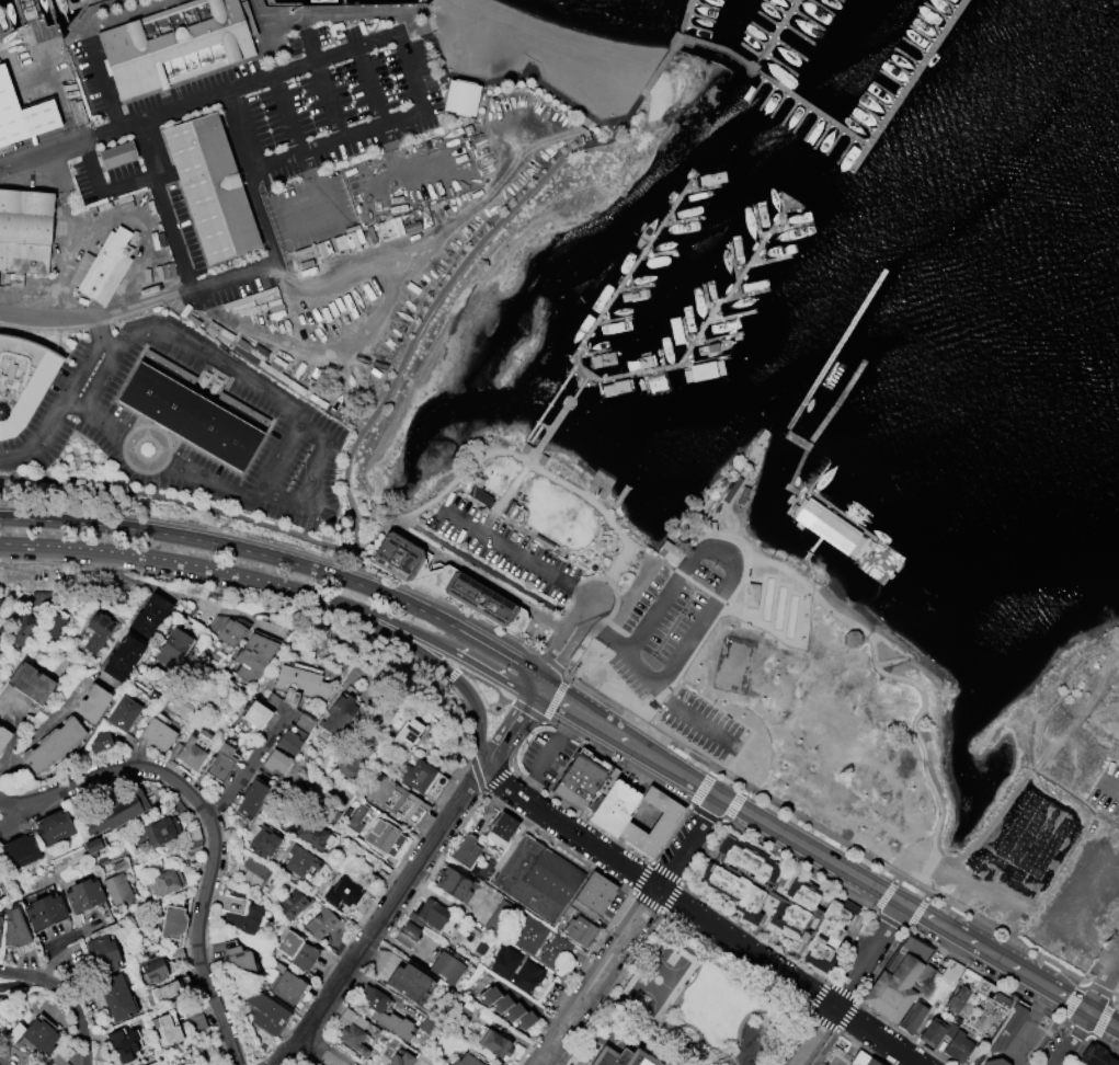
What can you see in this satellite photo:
pier: (342, 1)
pier: (420, 1)
road: (343, 5)
road: (419, 5)
road: (87, 11)
road: (122, 13)
pier: (686, 18)
pier: (773, 34)
building: (173, 44)
road: (439, 57)
road: (430, 81)
road: (100, 82)
road: (412, 83)
road: (368, 84)
pier: (906, 85)
road: (56, 93)
building: (460, 96)
road: (327, 98)
pier: (802, 105)
building: (22, 114)
road: (152, 115)
parking lot: (261, 146)
road: (42, 151)
building: (116, 156)
road: (271, 159)
road: (248, 176)
building: (210, 186)
road: (99, 190)
road: (163, 205)
road: (288, 222)
building: (25, 229)
road: (461, 261)
building: (103, 265)
road: (333, 276)
pier: (626, 277)
road: (139, 305)
road: (107, 343)
building: (258, 356)
pier: (830, 358)
pier: (678, 363)
building: (21, 380)
road: (64, 399)
building: (189, 415)
parking lot: (167, 419)
road: (296, 424)
pier: (820, 428)
road: (546, 474)
pier: (780, 476)
pier: (629, 483)
road: (312, 484)
building: (480, 494)
pier: (785, 494)
road: (502, 497)
road: (178, 502)
road: (439, 505)
pier: (777, 507)
road: (370, 512)
park: (561, 525)
building: (831, 528)
road: (159, 531)
road: (373, 532)
pier: (840, 534)
road: (278, 543)
road: (64, 545)
parking lot: (504, 548)
parking lot: (16, 550)
building: (669, 552)
pier: (810, 552)
road: (517, 556)
road: (654, 559)
parking lot: (180, 569)
road: (224, 570)
road: (487, 571)
building: (444, 581)
road: (231, 587)
road: (628, 593)
parking lot: (642, 593)
building: (751, 593)
building: (87, 596)
road: (183, 596)
park: (767, 597)
building: (0, 599)
building: (42, 599)
road: (398, 599)
park: (779, 607)
road: (709, 608)
parking lot: (332, 615)
road: (380, 615)
road: (651, 615)
building: (150, 616)
park: (791, 616)
road: (760, 623)
building: (53, 627)
building: (20, 628)
building: (228, 628)
building: (98, 629)
road: (572, 630)
road: (604, 637)
building: (173, 650)
building: (254, 655)
road: (427, 655)
building: (123, 656)
road: (509, 657)
road: (356, 661)
road: (550, 662)
parking lot: (641, 663)
park: (733, 663)
road: (486, 669)
road: (543, 672)
road: (563, 674)
road: (450, 675)
road: (900, 677)
building: (302, 680)
building: (31, 682)
road: (486, 682)
road: (546, 689)
road: (528, 694)
road: (1063, 694)
road: (553, 698)
park: (798, 698)
railway: (648, 701)
building: (93, 702)
road: (527, 709)
building: (124, 712)
road: (685, 712)
building: (256, 713)
building: (338, 715)
road: (642, 715)
road: (469, 718)
road: (603, 724)
road: (504, 732)
building: (158, 733)
building: (296, 733)
building: (408, 735)
building: (3, 736)
road: (517, 740)
building: (101, 741)
building: (54, 745)
building: (192, 747)
road: (548, 752)
building: (358, 755)
parking lot: (546, 755)
building: (276, 760)
building: (220, 761)
building: (448, 763)
road: (481, 766)
road: (490, 766)
road: (247, 769)
building: (424, 778)
building: (584, 778)
road: (1110, 786)
road: (482, 789)
road: (1074, 795)
parking lot: (1108, 795)
building: (252, 798)
building: (397, 800)
building: (614, 805)
road: (13, 808)
building: (178, 808)
building: (116, 812)
building: (347, 813)
building: (333, 814)
building: (359, 817)
road: (13, 818)
building: (654, 823)
building: (55, 826)
road: (775, 828)
building: (161, 829)
building: (503, 829)
building: (309, 832)
road: (574, 834)
building: (381, 836)
building: (193, 840)
building: (264, 840)
road: (685, 841)
road: (213, 843)
building: (94, 846)
building: (21, 850)
building: (467, 851)
road: (422, 855)
building: (302, 861)
building: (483, 869)
building: (254, 872)
building: (539, 879)
road: (914, 880)
building: (165, 881)
building: (118, 883)
building: (455, 884)
building: (84, 894)
building: (344, 894)
building: (595, 895)
building: (780, 900)
building: (294, 904)
building: (46, 911)
building: (242, 912)
building: (501, 916)
building: (435, 917)
building: (1110, 918)
building: (173, 921)
building: (322, 923)
building: (0, 928)
building: (15, 928)
building: (581, 930)
building: (409, 934)
building: (529, 934)
parking lot: (1115, 941)
building: (482, 948)
road: (743, 949)
building: (298, 950)
building: (556, 951)
building: (178, 953)
building: (103, 954)
road: (865, 955)
railway: (1096, 955)
building: (240, 958)
road: (351, 961)
building: (506, 961)
road: (1009, 965)
road: (1117, 965)
building: (448, 967)
building: (153, 970)
building: (951, 970)
parking lot: (1100, 970)
building: (528, 976)
road: (600, 977)
building: (900, 980)
park: (654, 982)
building: (285, 984)
building: (411, 984)
road: (1104, 985)
building: (171, 989)
building: (490, 995)
road: (66, 996)
building: (116, 996)
building: (957, 996)
building: (1000, 999)
building: (502, 1003)
park: (685, 1006)
building: (514, 1011)
building: (267, 1012)
building: (382, 1012)
building: (912, 1017)
building: (526, 1020)
building: (197, 1021)
building: (429, 1024)
road: (306, 1026)
building: (1006, 1027)
building: (168, 1028)
road: (1018, 1029)
building: (934, 1030)
building: (354, 1031)
building: (32, 1034)
road: (812, 1037)
road: (872, 1037)
road: (1071, 1038)
building: (495, 1042)
building: (123, 1043)
building: (959, 1045)
road: (319, 1051)
building: (1096, 1055)
building: (617, 1057)
building: (859, 1058)
building: (402, 1060)
road: (272, 1061)
building: (468, 1061)
building: (994, 1061)
building: (871, 1062)

